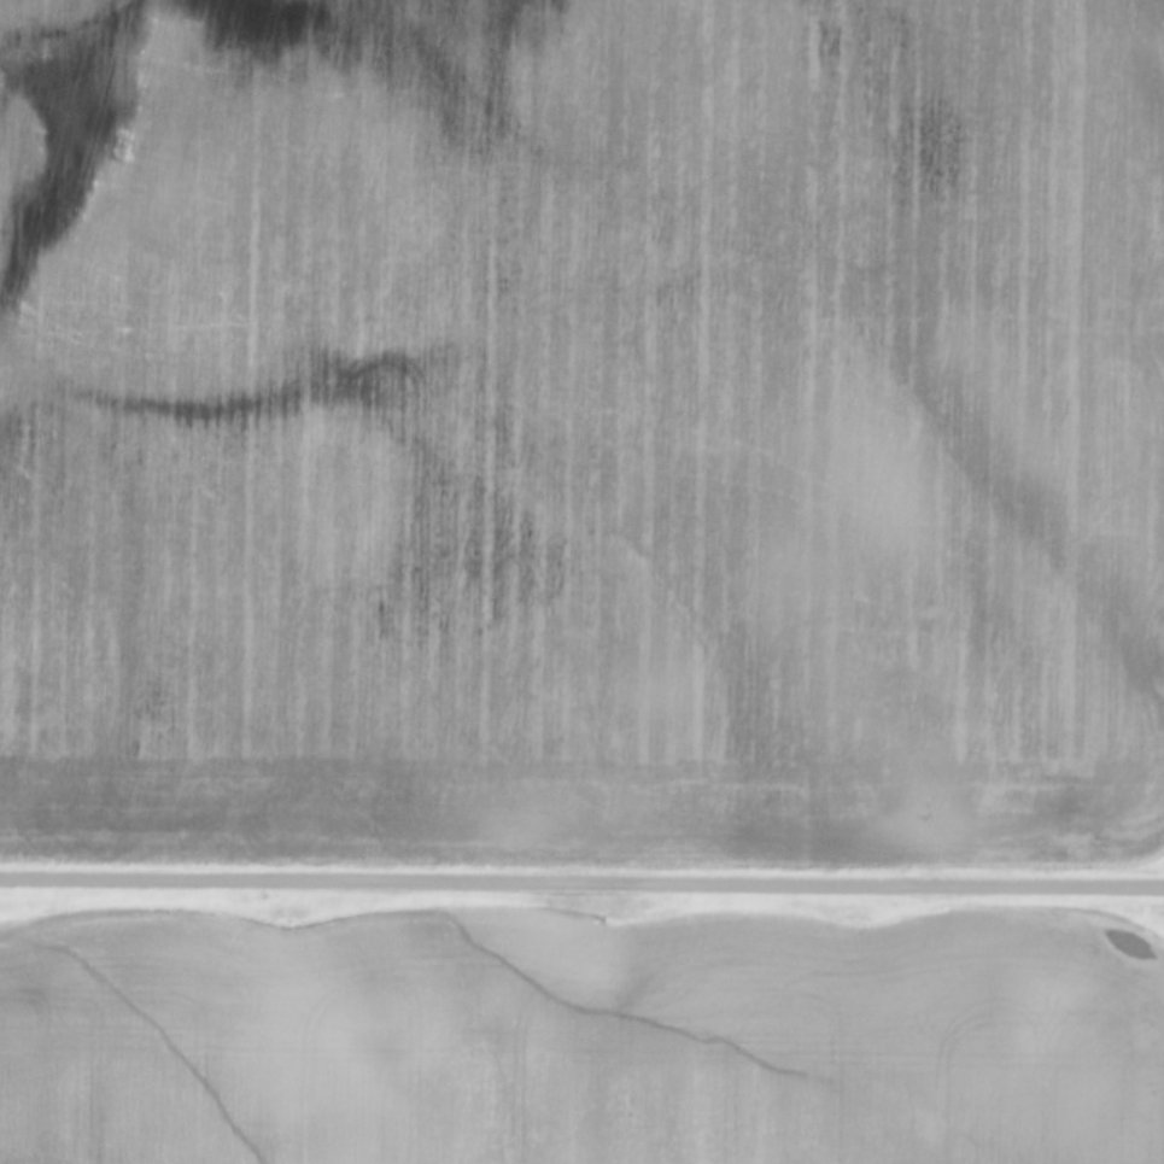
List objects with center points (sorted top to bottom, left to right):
road: (581, 884)

